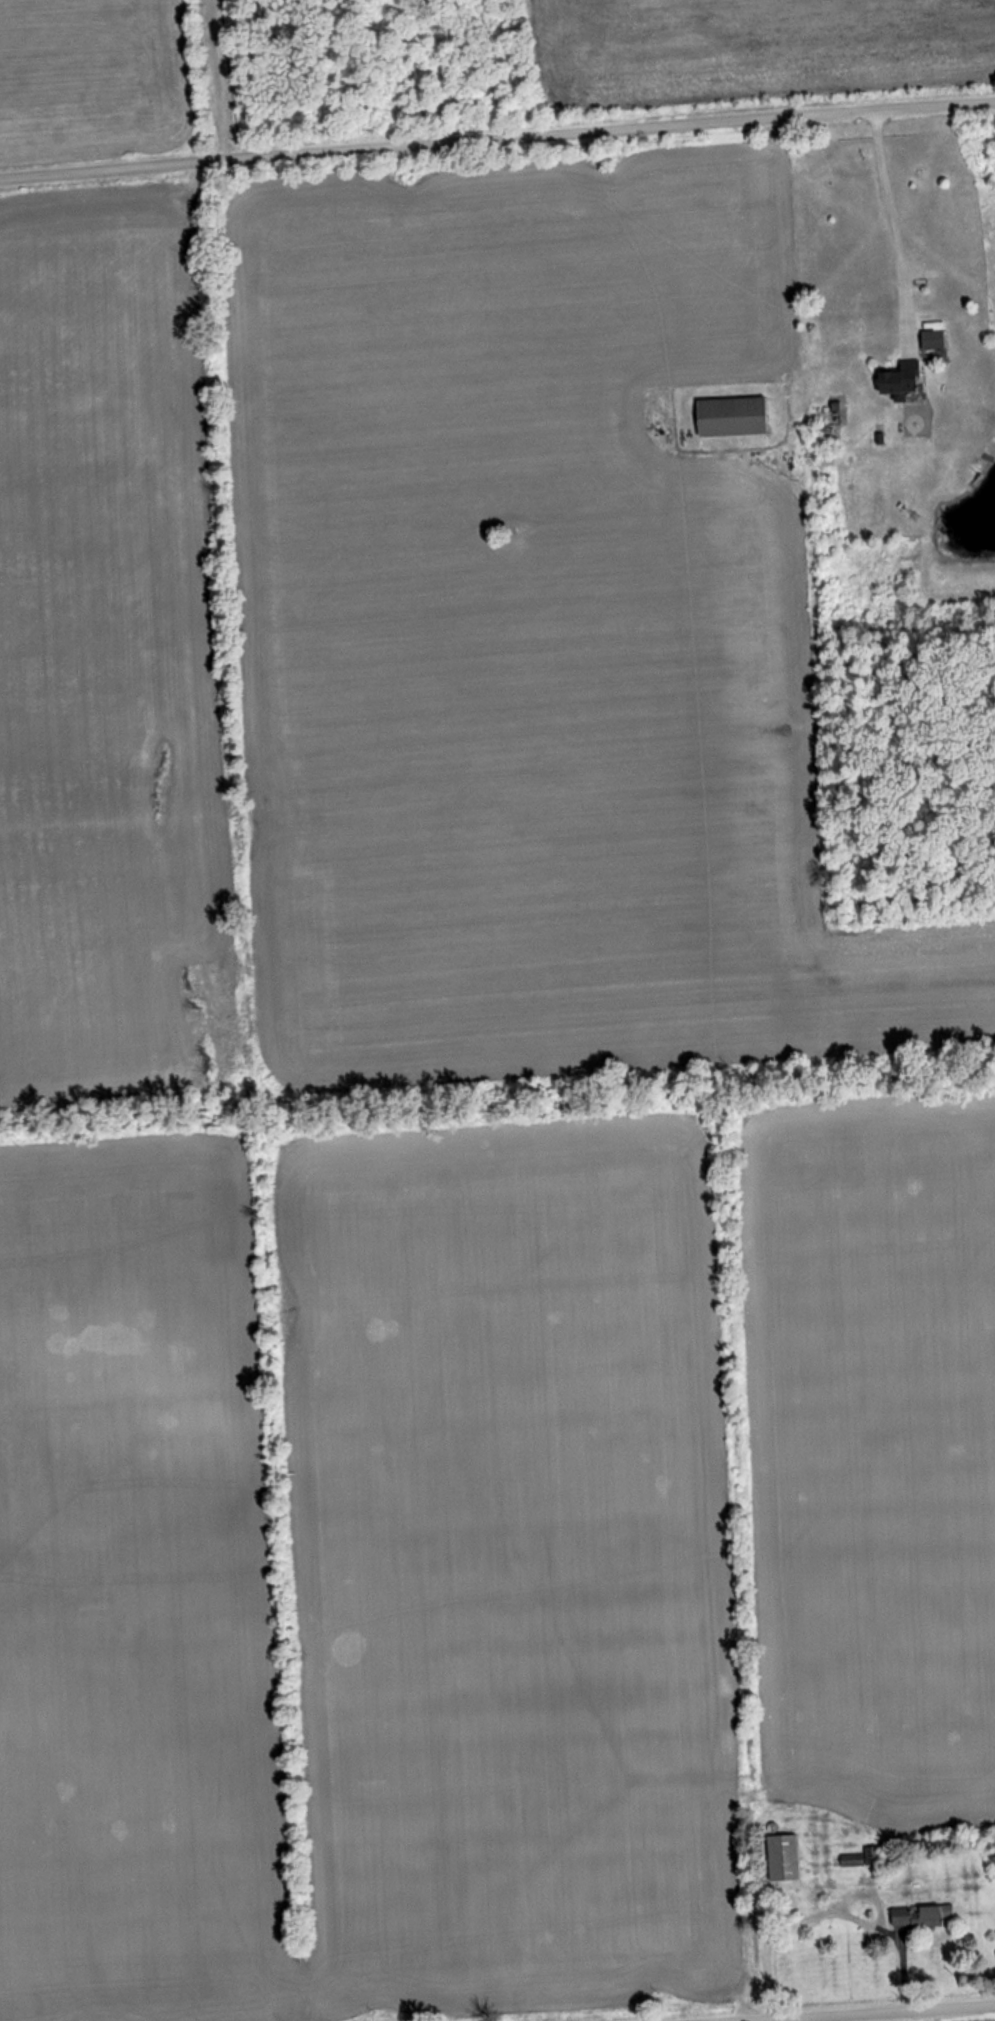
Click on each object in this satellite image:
road: (497, 138)
road: (894, 227)
building: (932, 339)
building: (898, 379)
building: (731, 416)
building: (783, 1856)
building: (851, 1859)
building: (920, 1914)
road: (918, 2016)

